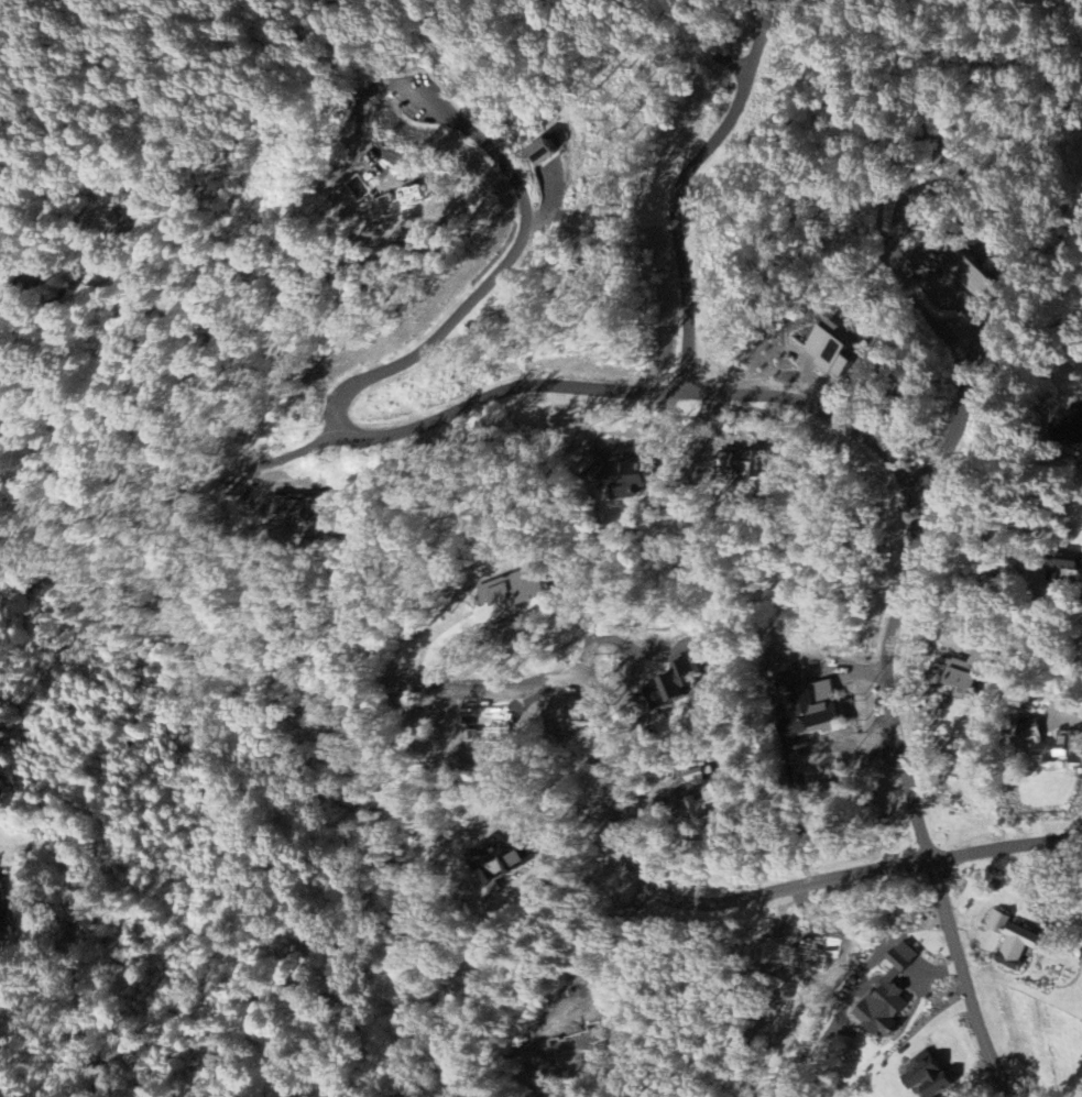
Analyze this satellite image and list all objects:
road: (762, 36)
building: (546, 150)
road: (670, 218)
building: (125, 227)
building: (4, 275)
road: (58, 296)
building: (838, 349)
road: (576, 383)
road: (958, 416)
building: (1079, 425)
building: (751, 463)
building: (625, 476)
road: (986, 533)
building: (523, 588)
building: (971, 670)
building: (682, 683)
road: (473, 687)
building: (810, 702)
building: (1057, 744)
building: (698, 779)
building: (722, 797)
road: (560, 821)
road: (921, 838)
road: (1004, 840)
road: (670, 897)
building: (3, 904)
building: (1018, 940)
road: (962, 978)
building: (894, 997)
building: (933, 1077)

